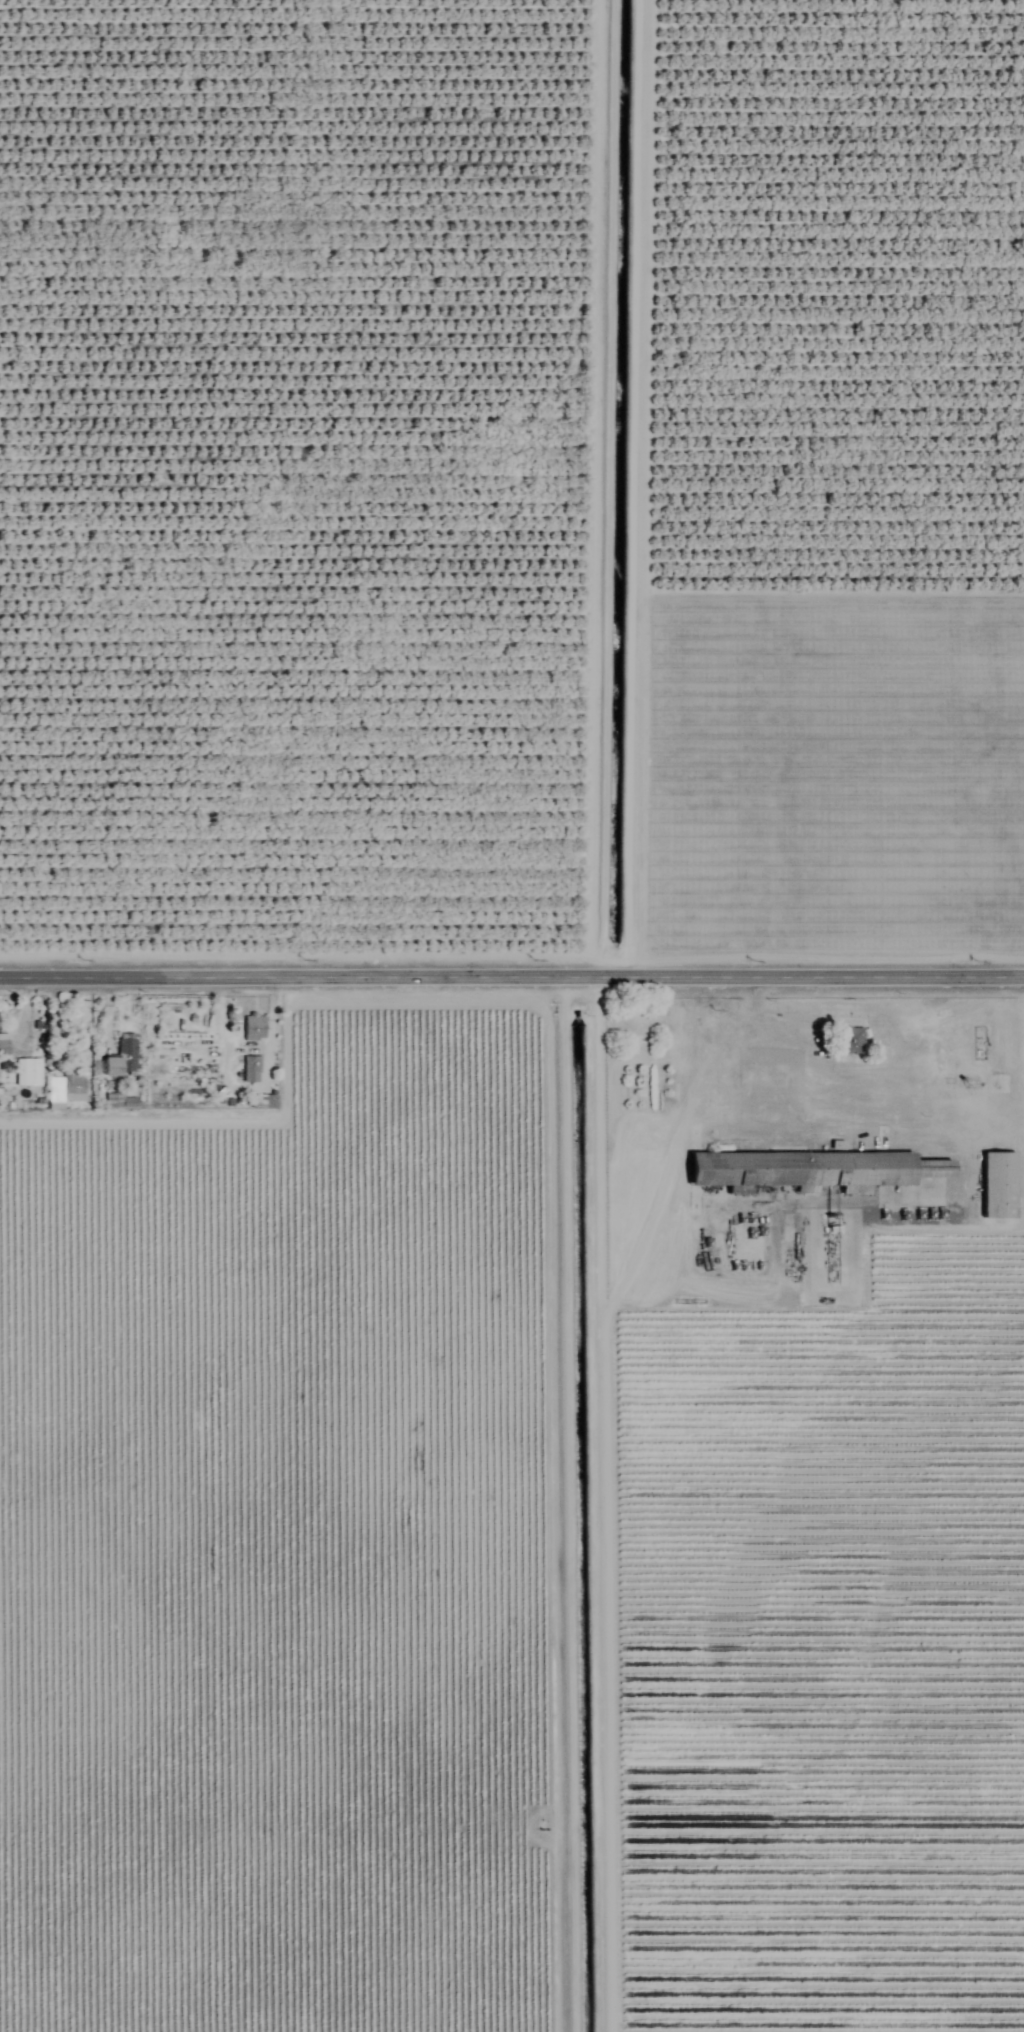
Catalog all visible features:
road: (512, 978)
building: (62, 1089)
building: (731, 1168)
building: (1000, 1183)

